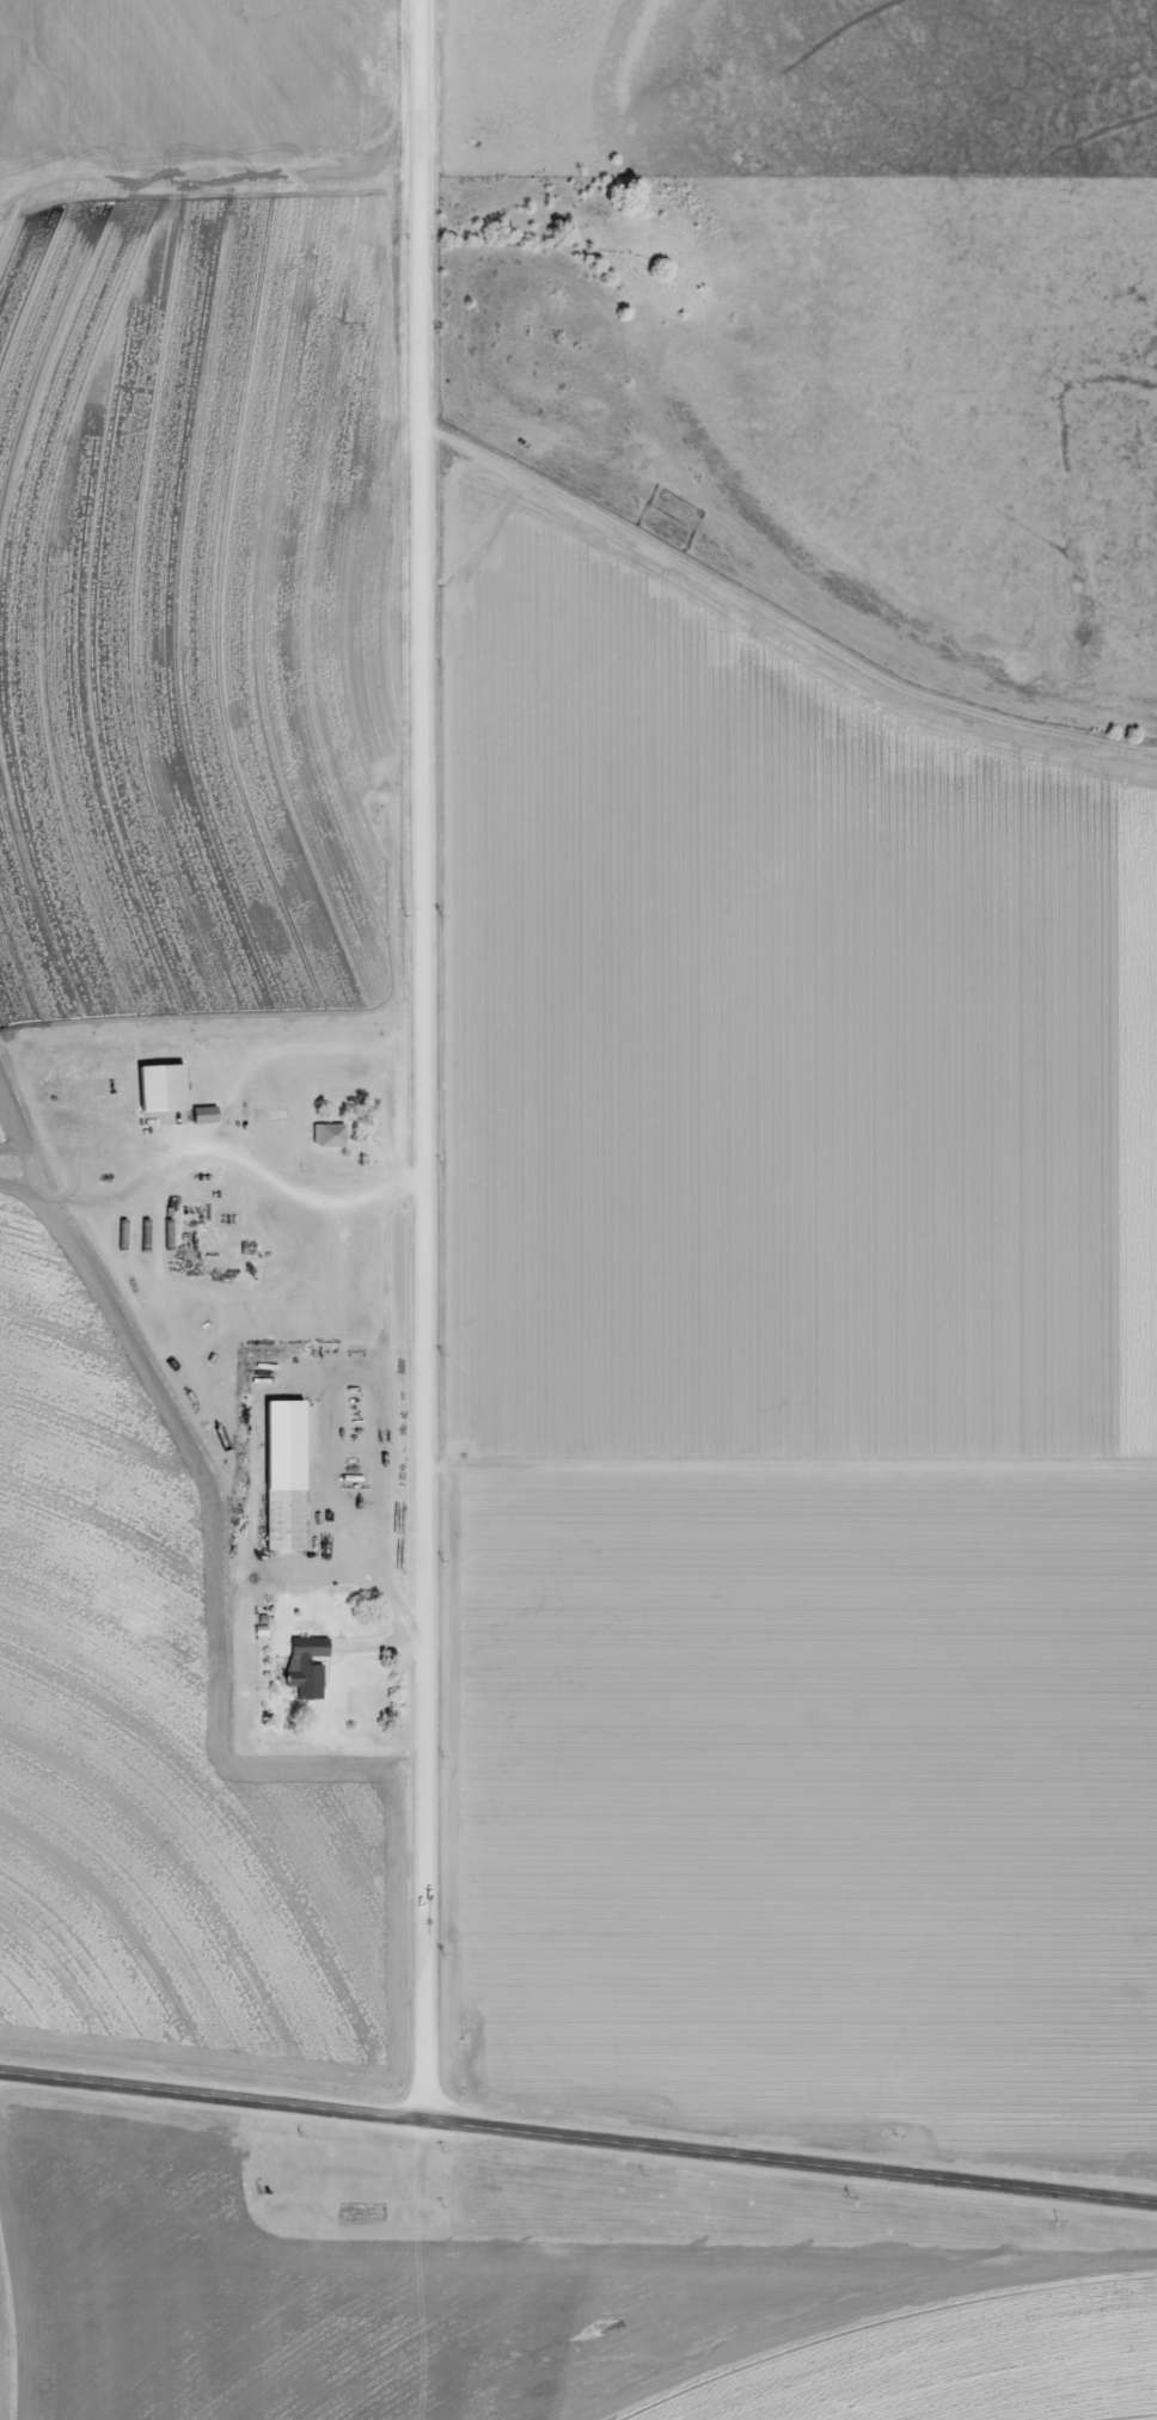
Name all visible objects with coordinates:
road: (424, 1062)
building: (171, 1088)
building: (212, 1115)
building: (335, 1137)
road: (300, 1202)
building: (293, 1520)
building: (314, 1667)
road: (577, 2143)

